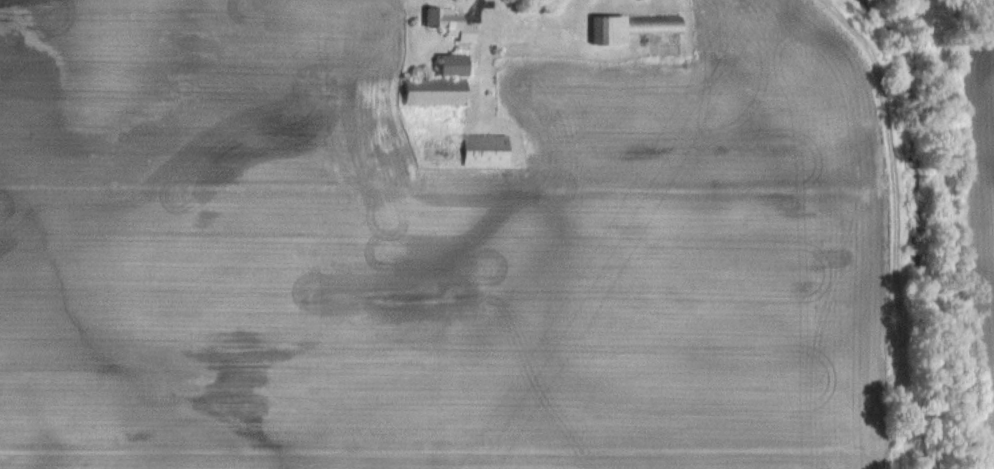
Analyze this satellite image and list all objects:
building: (448, 24)
building: (438, 83)
building: (484, 149)

